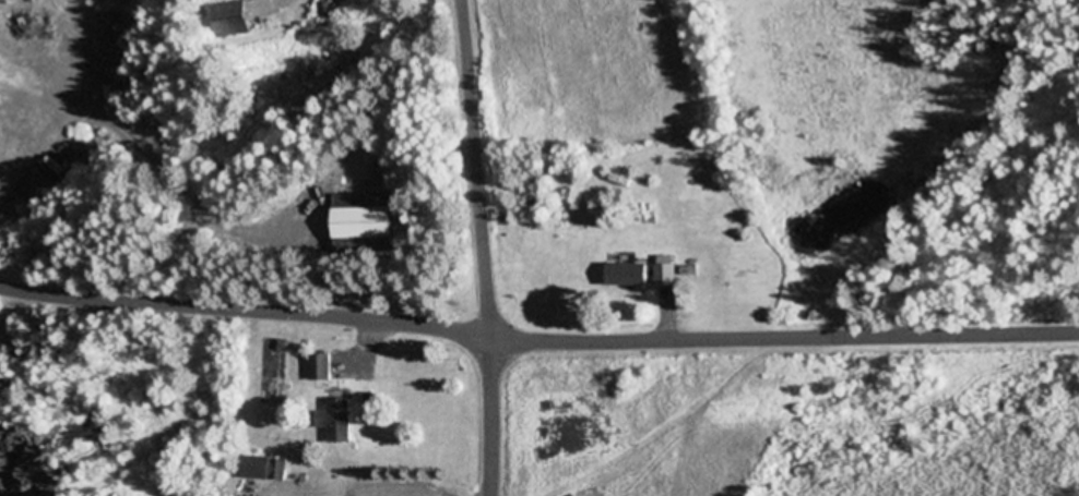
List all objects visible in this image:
building: (232, 20)
building: (364, 223)
road: (484, 247)
building: (629, 276)
building: (667, 276)
road: (246, 316)
road: (785, 337)
building: (320, 370)
building: (336, 422)
building: (262, 471)

